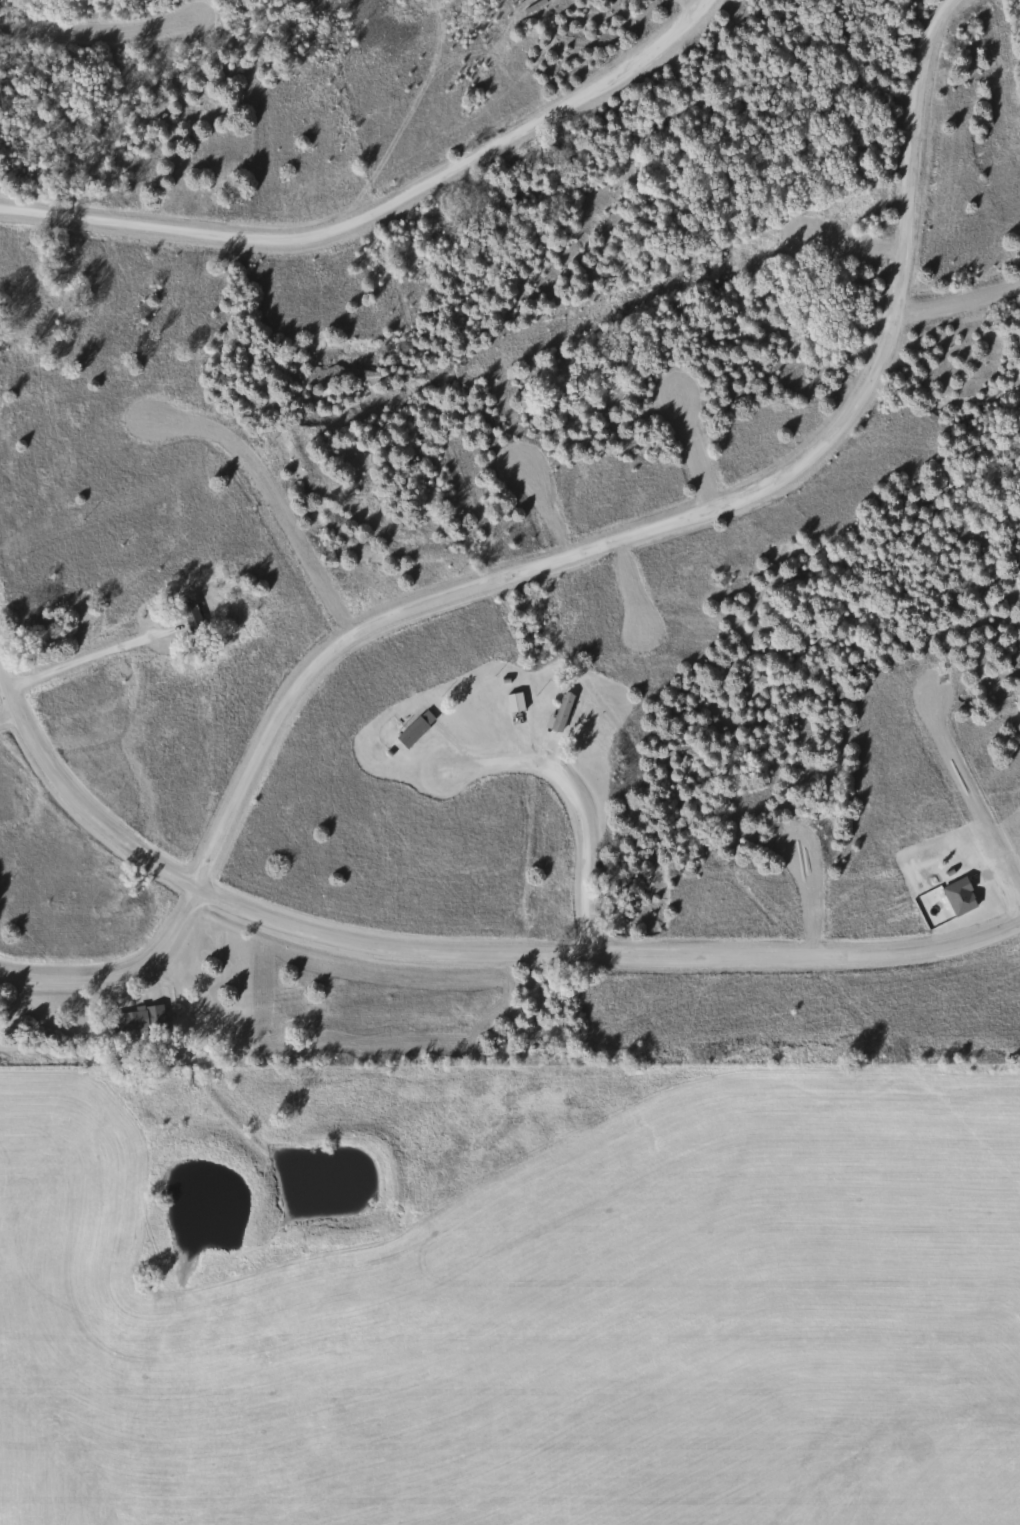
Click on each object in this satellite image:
road: (678, 10)
road: (78, 22)
road: (381, 208)
road: (850, 258)
road: (958, 317)
road: (698, 448)
road: (272, 500)
road: (545, 509)
road: (676, 520)
road: (634, 584)
building: (188, 613)
building: (42, 622)
road: (96, 655)
building: (511, 702)
building: (557, 713)
road: (9, 717)
building: (412, 728)
road: (973, 794)
road: (585, 851)
building: (956, 897)
road: (807, 900)
road: (452, 952)
road: (120, 973)
building: (135, 1019)

